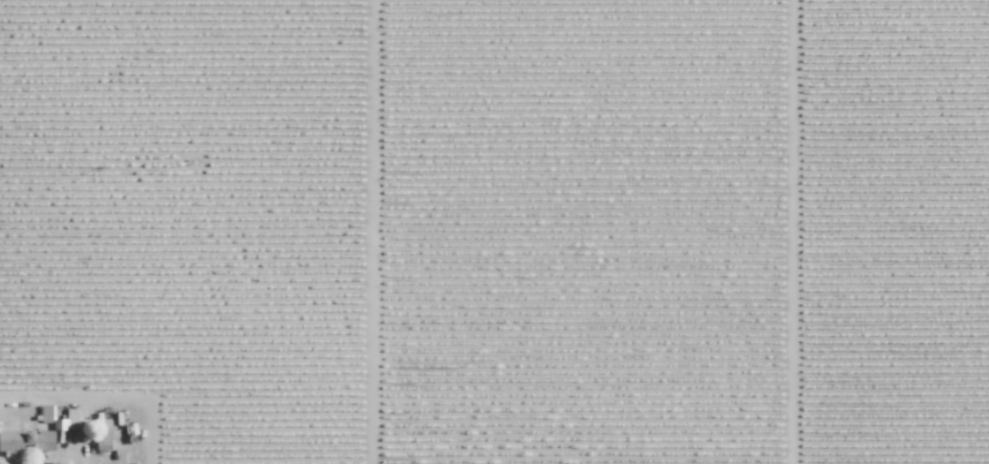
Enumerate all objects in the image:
building: (18, 440)

